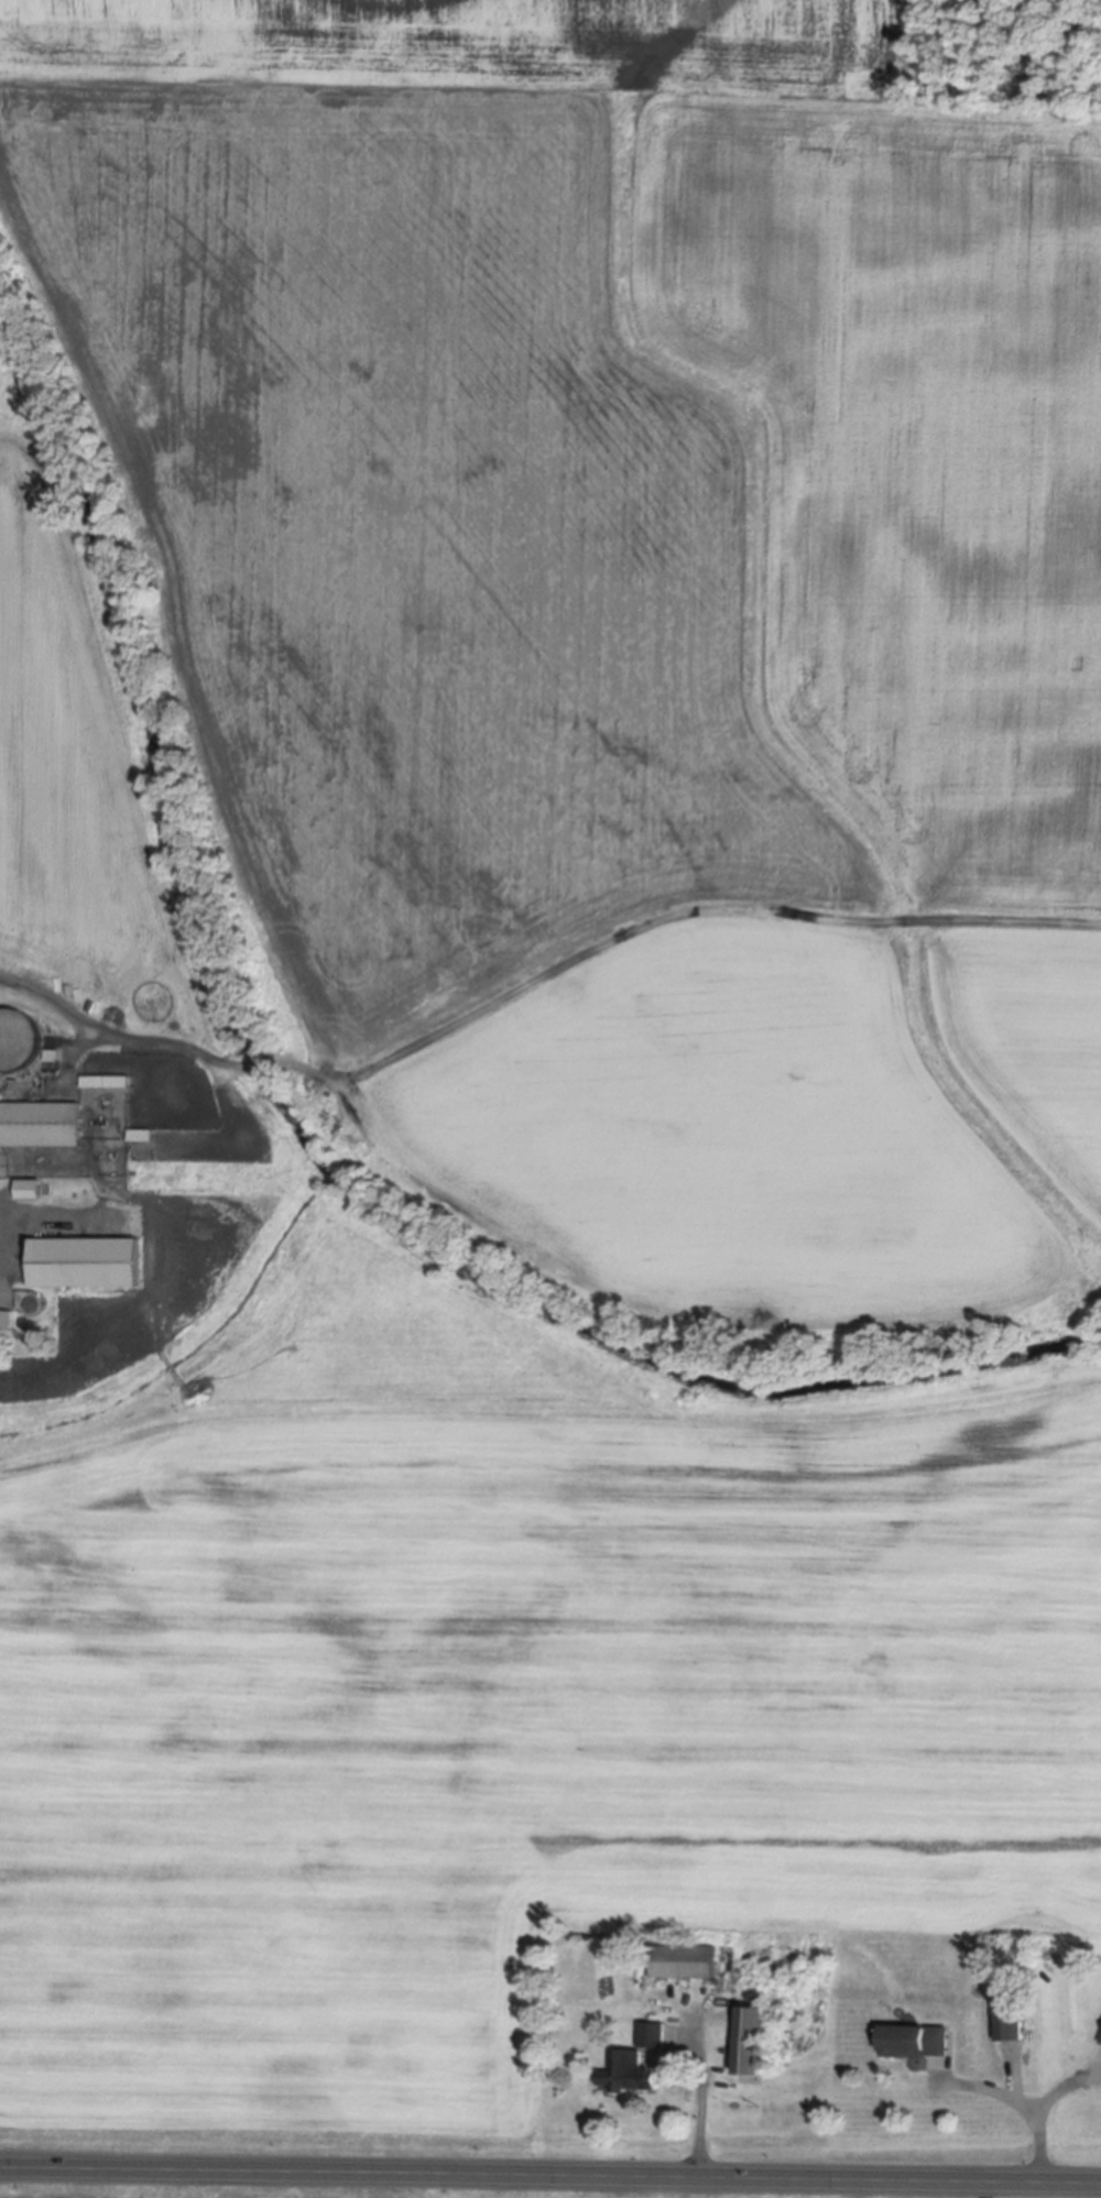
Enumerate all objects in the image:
building: (15, 1040)
road: (84, 1041)
building: (42, 1129)
building: (0, 1189)
building: (31, 1195)
road: (41, 1221)
building: (88, 1271)
building: (8, 1325)
building: (688, 1955)
building: (1012, 2014)
building: (756, 2028)
building: (656, 2030)
building: (917, 2035)
building: (1099, 2041)
building: (778, 2047)
building: (773, 2062)
building: (744, 2064)
building: (631, 2067)
road: (711, 2107)
road: (1042, 2111)
road: (549, 2179)

